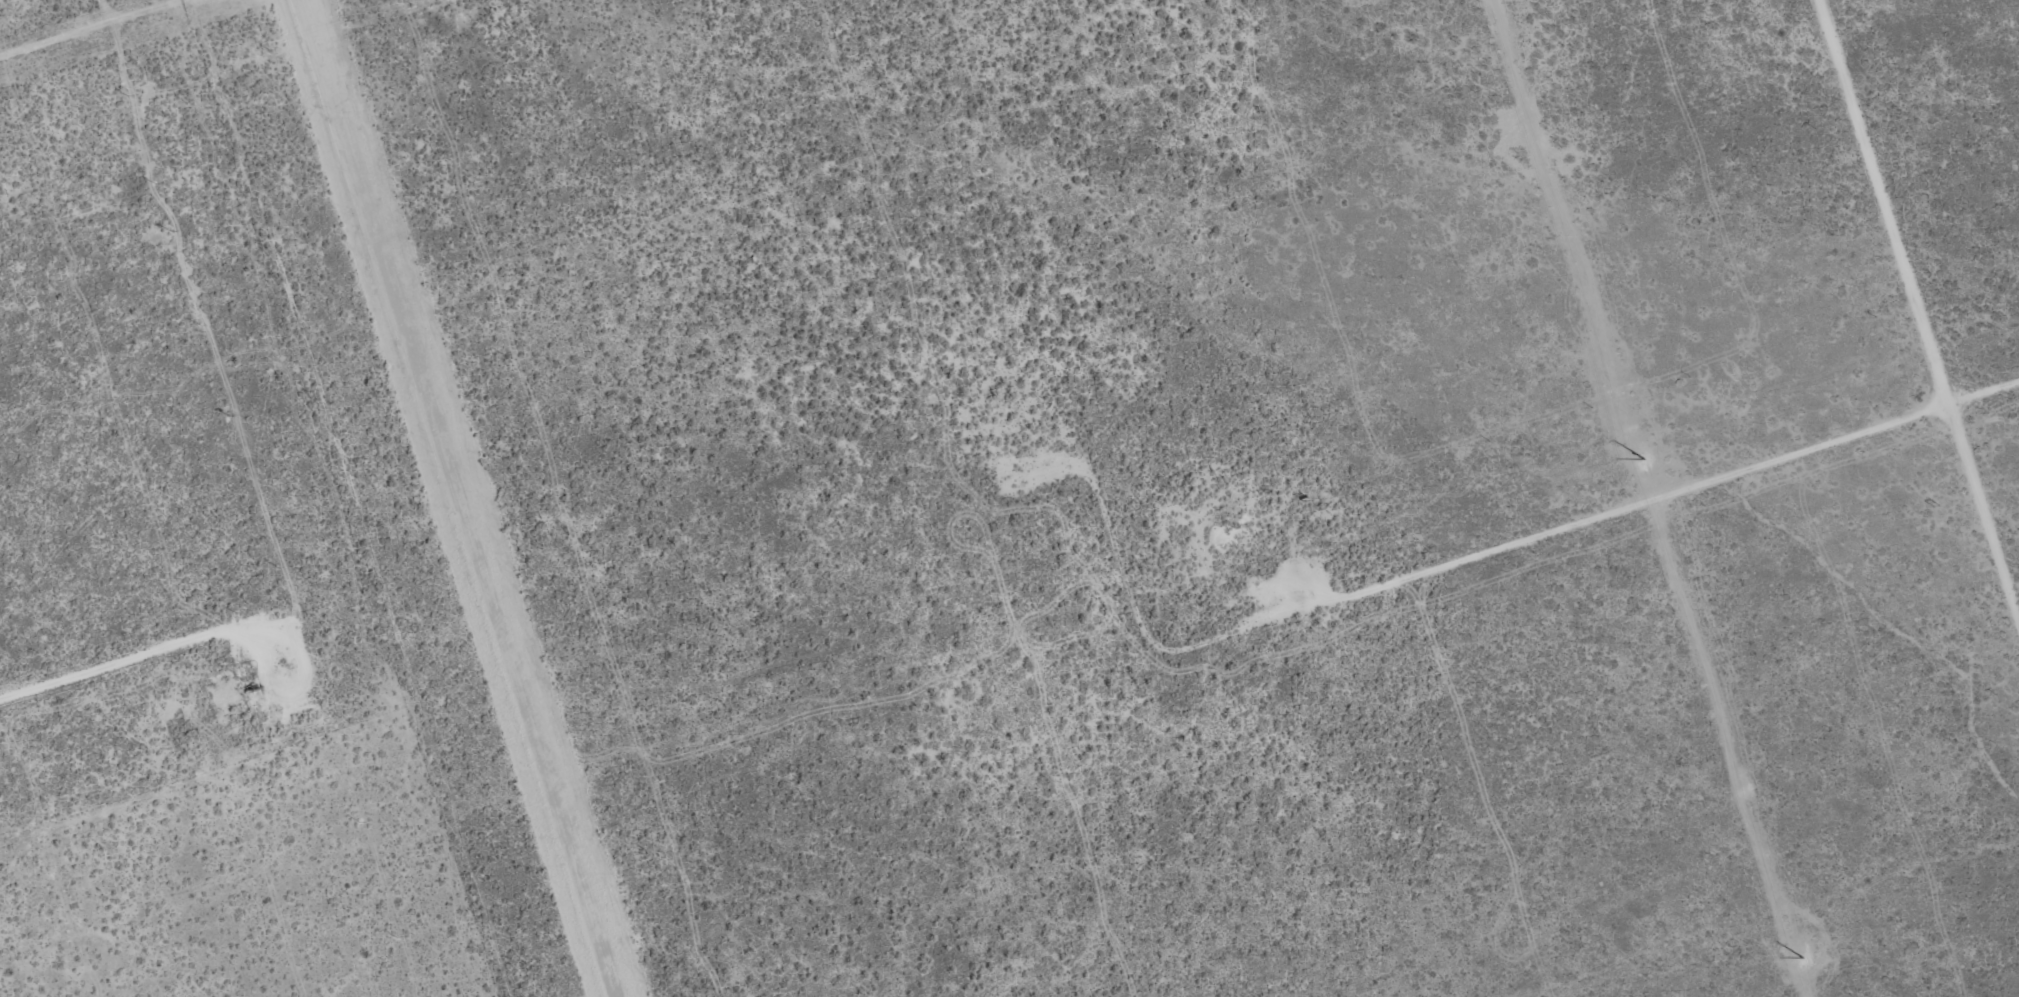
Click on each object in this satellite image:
road: (1915, 315)
road: (1480, 558)

